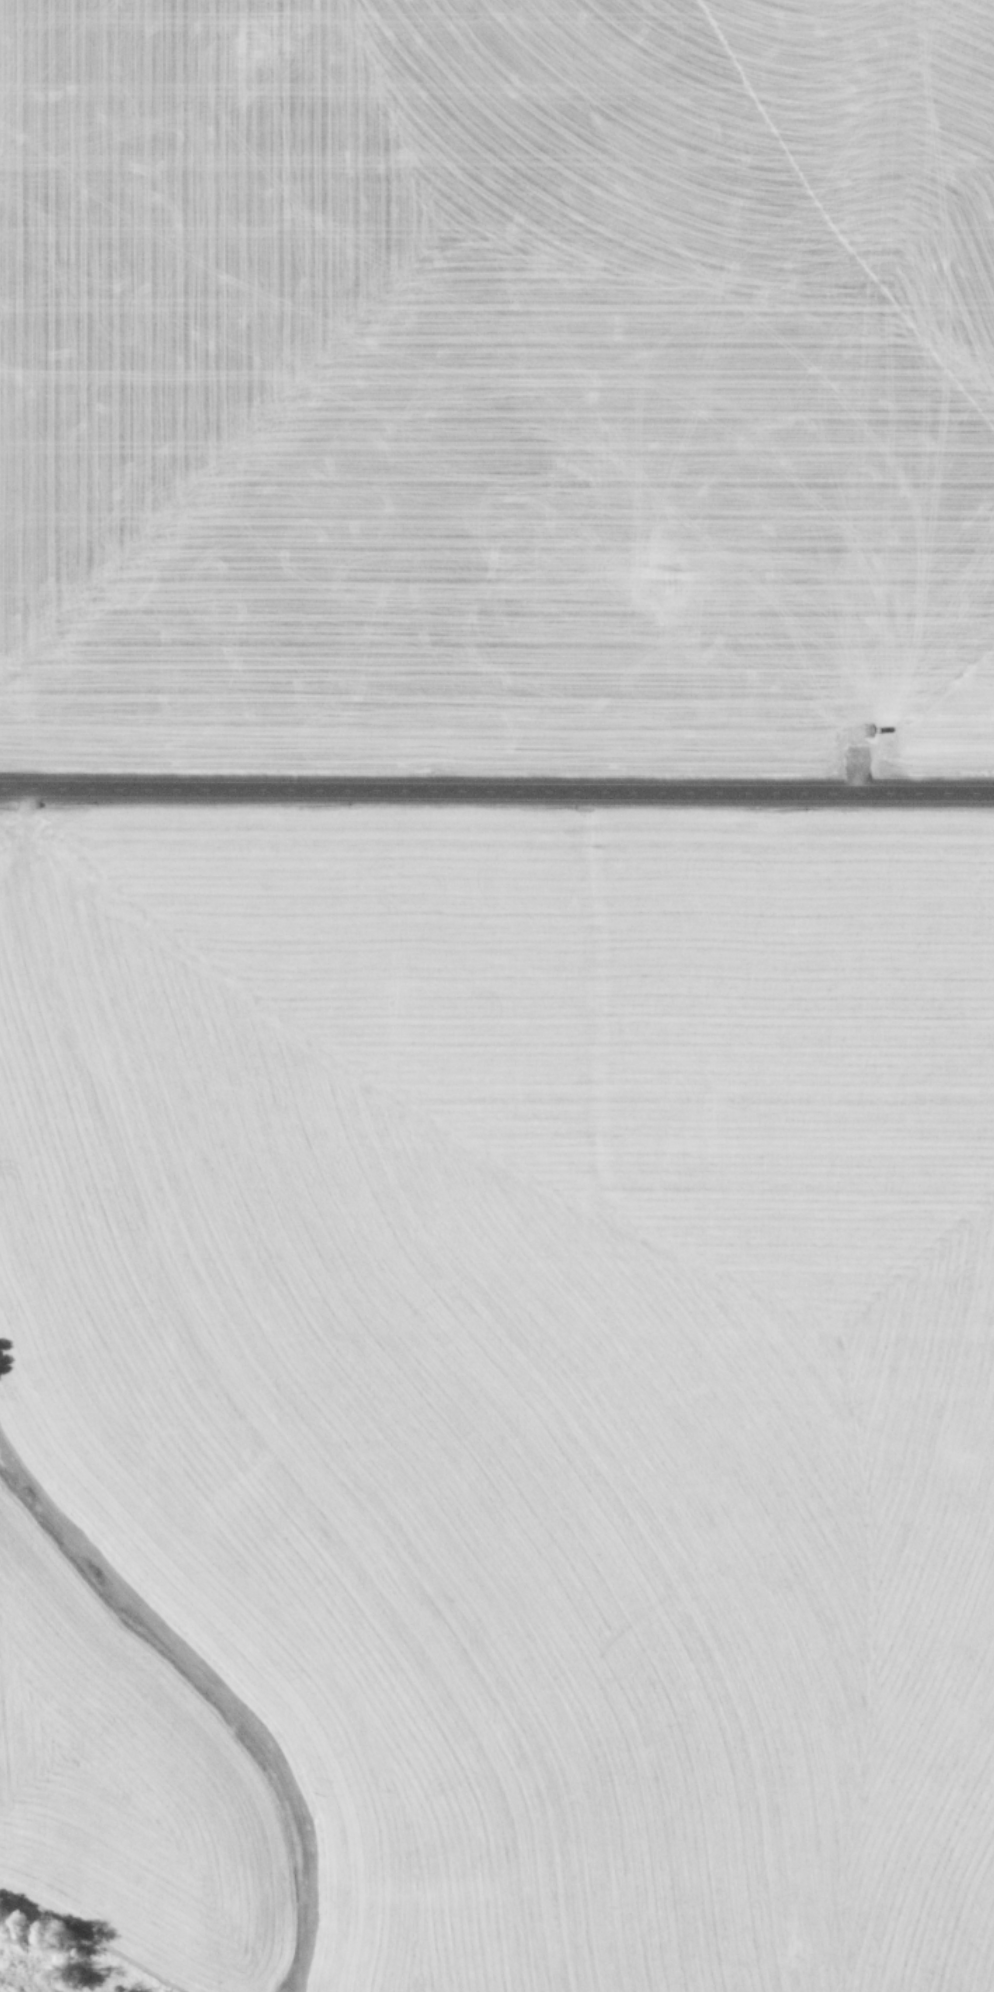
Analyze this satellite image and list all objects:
crop: (496, 379)
road: (497, 788)
crop: (499, 1395)

